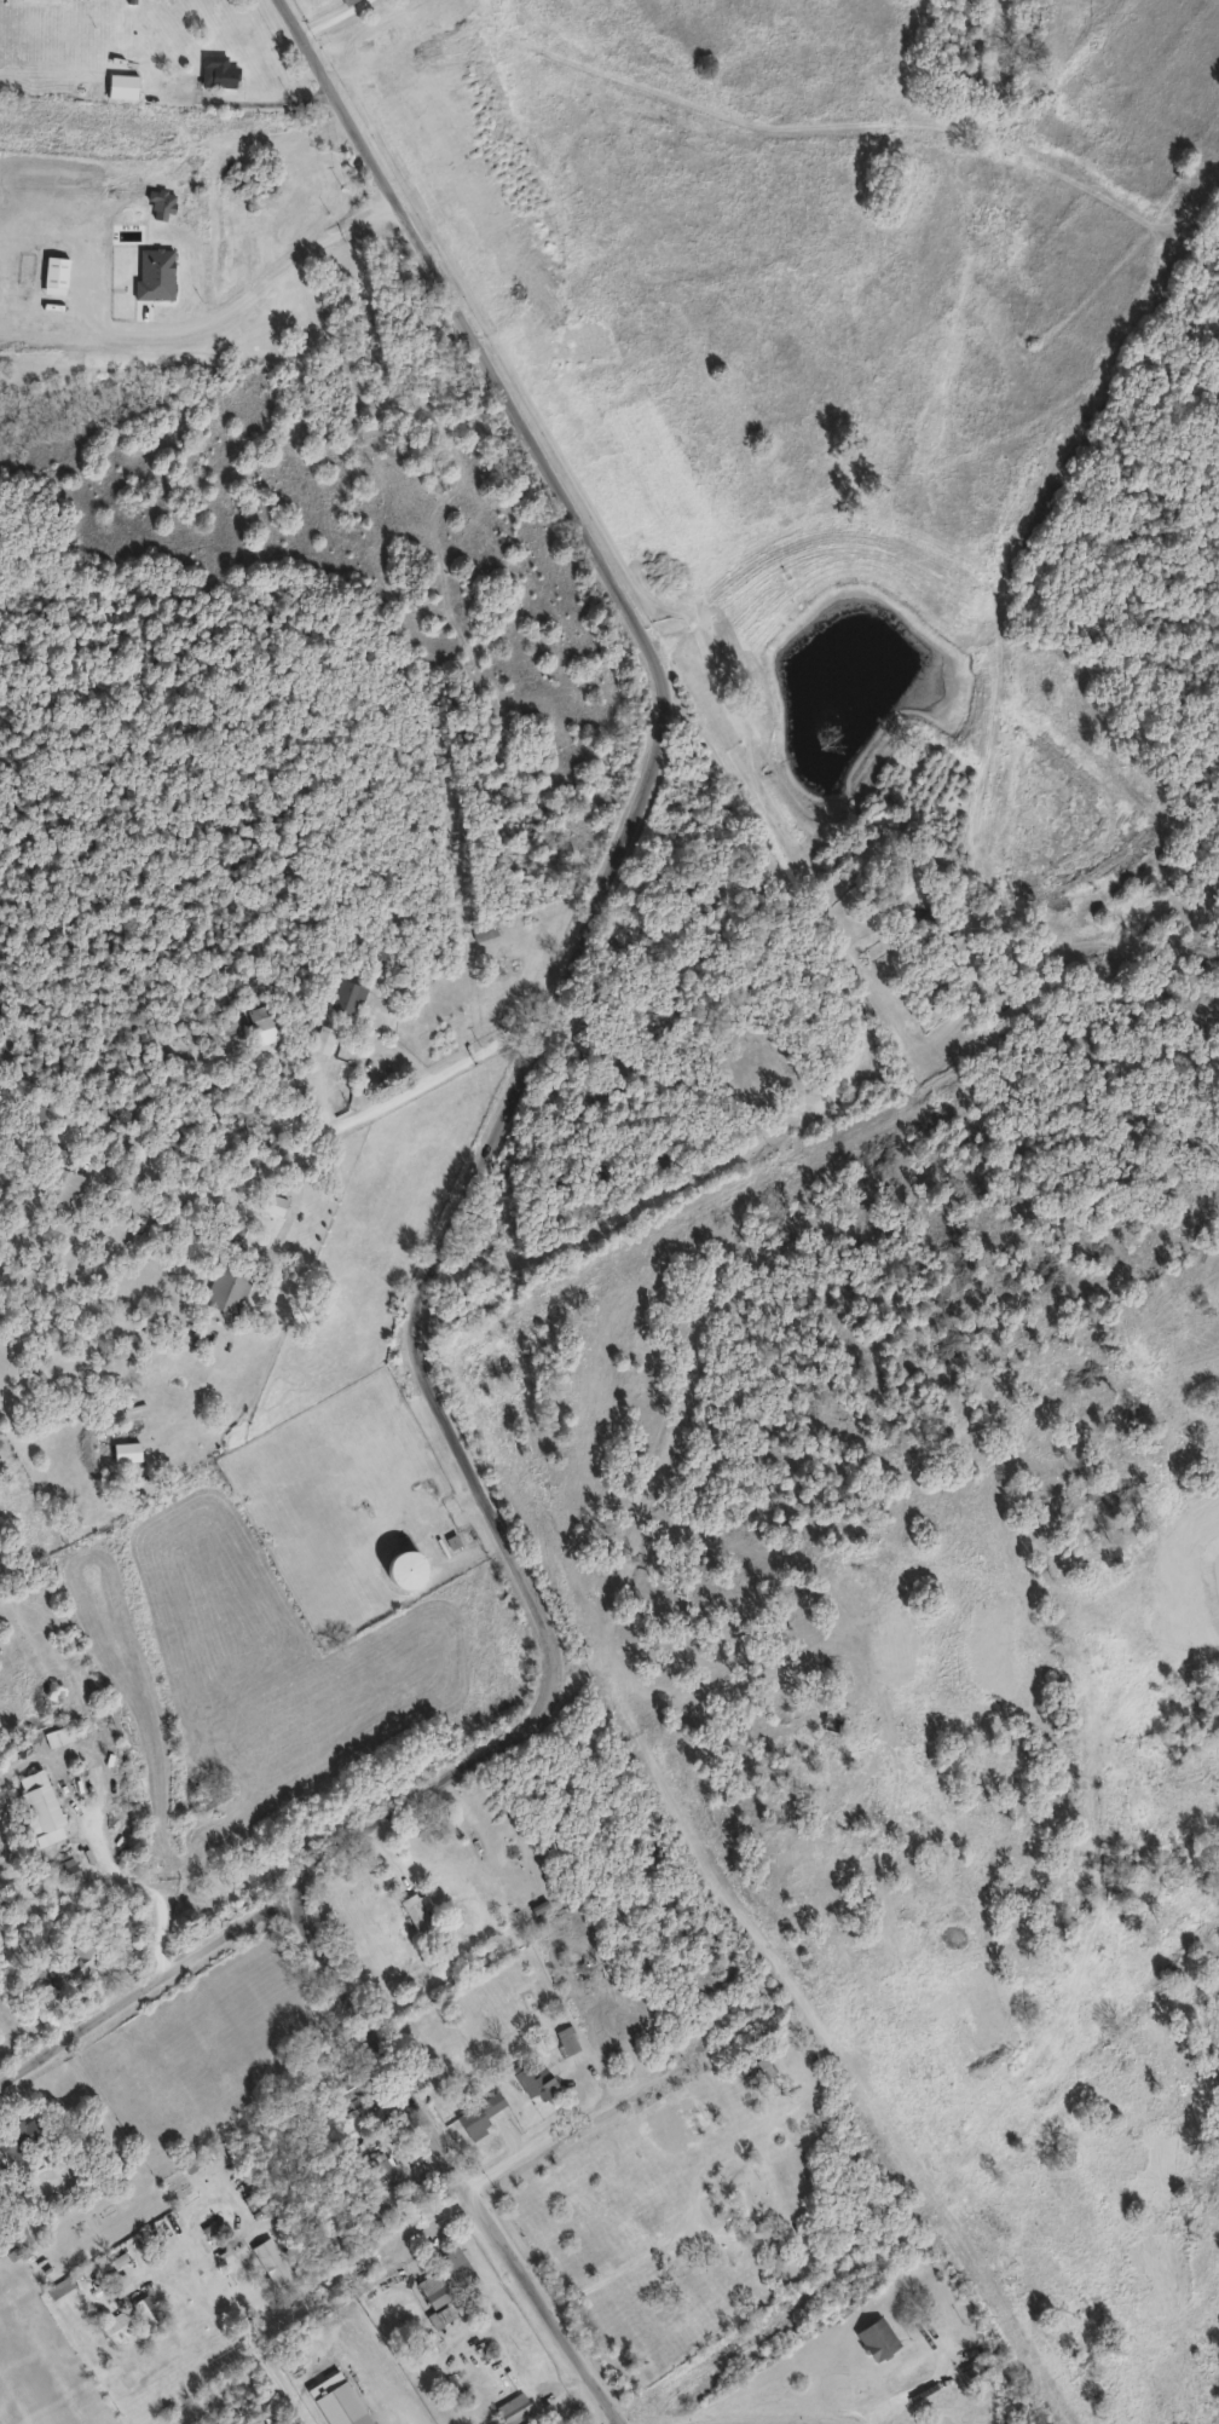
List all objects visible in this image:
road: (337, 18)
building: (216, 69)
building: (121, 83)
road: (245, 103)
road: (253, 287)
building: (484, 931)
road: (570, 981)
building: (343, 995)
building: (262, 1020)
building: (320, 1039)
building: (34, 1115)
road: (320, 1136)
building: (59, 1177)
building: (226, 1288)
road: (126, 1416)
building: (400, 1570)
building: (212, 1795)
building: (39, 1805)
road: (145, 1886)
building: (1114, 1889)
building: (416, 1912)
building: (83, 1953)
building: (37, 1980)
road: (144, 1985)
building: (565, 2038)
building: (755, 2070)
building: (532, 2078)
building: (478, 2112)
building: (695, 2114)
building: (23, 2135)
road: (535, 2145)
road: (458, 2154)
building: (385, 2169)
building: (268, 2259)
building: (456, 2267)
road: (622, 2268)
building: (432, 2289)
building: (132, 2314)
road: (241, 2336)
building: (873, 2337)
building: (970, 2373)
road: (365, 2379)
road: (902, 2396)
building: (339, 2405)
building: (510, 2408)

